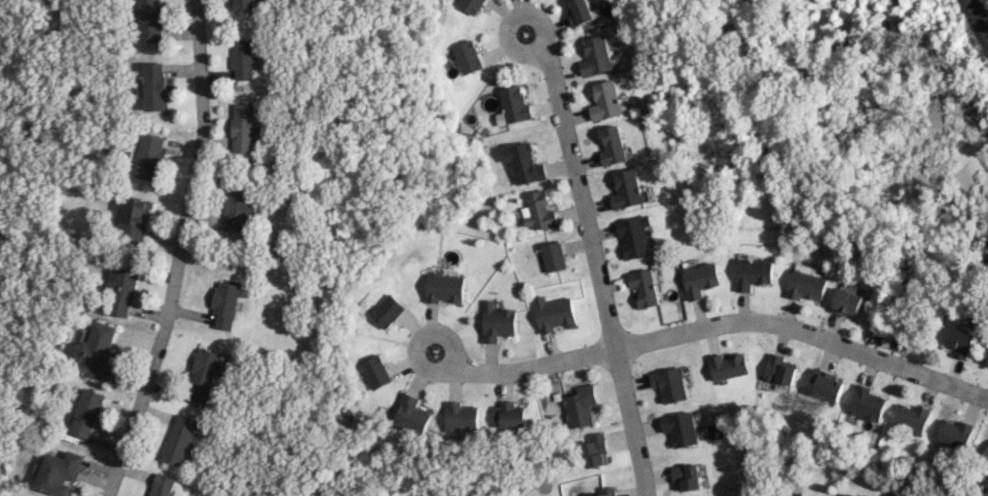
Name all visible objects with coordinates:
building: (244, 5)
building: (470, 5)
building: (581, 12)
road: (539, 19)
building: (148, 20)
railway: (976, 21)
building: (597, 55)
building: (465, 56)
building: (242, 59)
building: (151, 86)
building: (607, 100)
building: (242, 127)
building: (613, 145)
building: (148, 156)
building: (523, 163)
building: (627, 189)
building: (235, 206)
building: (537, 210)
building: (134, 218)
building: (635, 236)
road: (177, 252)
building: (553, 256)
road: (596, 269)
building: (754, 273)
building: (702, 279)
building: (808, 285)
building: (443, 287)
building: (644, 287)
building: (120, 292)
building: (848, 302)
building: (224, 304)
building: (386, 311)
building: (553, 313)
building: (497, 322)
road: (721, 325)
building: (959, 342)
road: (448, 344)
building: (94, 351)
building: (987, 364)
building: (205, 366)
building: (729, 366)
building: (779, 369)
building: (375, 371)
building: (671, 384)
building: (826, 385)
building: (866, 403)
building: (579, 404)
building: (83, 412)
building: (410, 415)
building: (462, 417)
building: (512, 418)
building: (910, 418)
building: (681, 428)
building: (954, 434)
building: (177, 439)
building: (595, 450)
building: (985, 454)
building: (57, 472)
building: (687, 476)
building: (162, 485)
building: (604, 492)
building: (851, 495)

